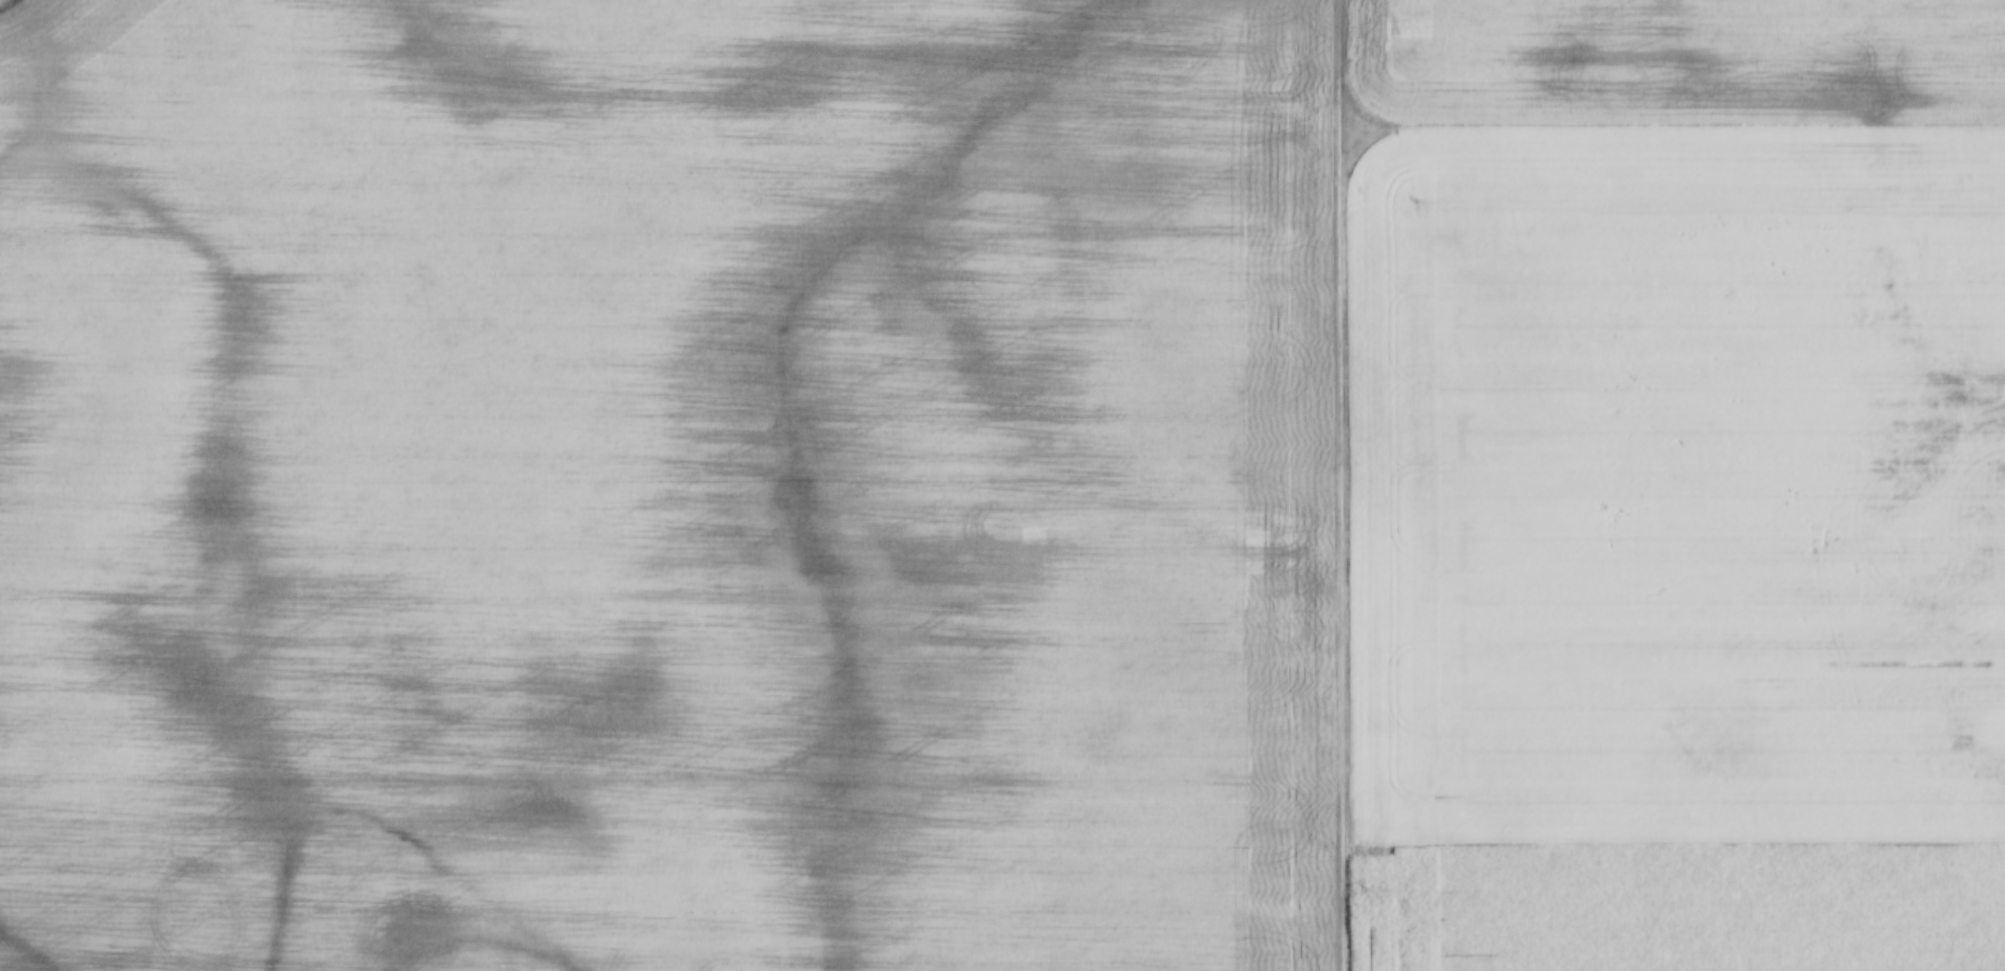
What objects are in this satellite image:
road: (1345, 485)

